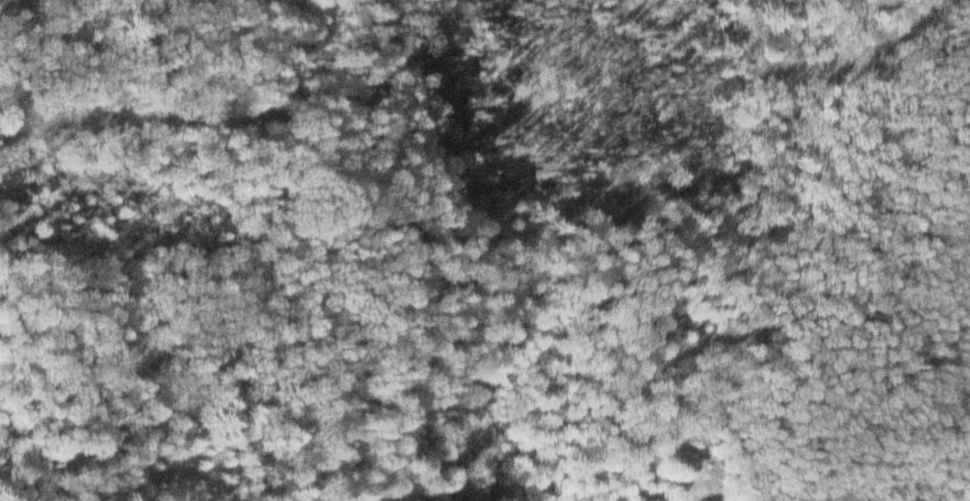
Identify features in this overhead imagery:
road: (930, 62)
road: (968, 124)

